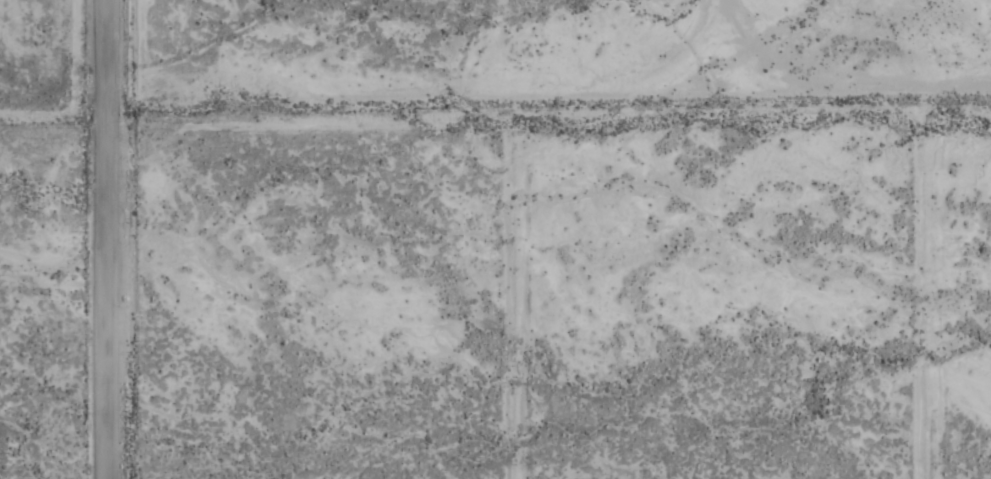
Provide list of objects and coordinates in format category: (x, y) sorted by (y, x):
road: (109, 239)

